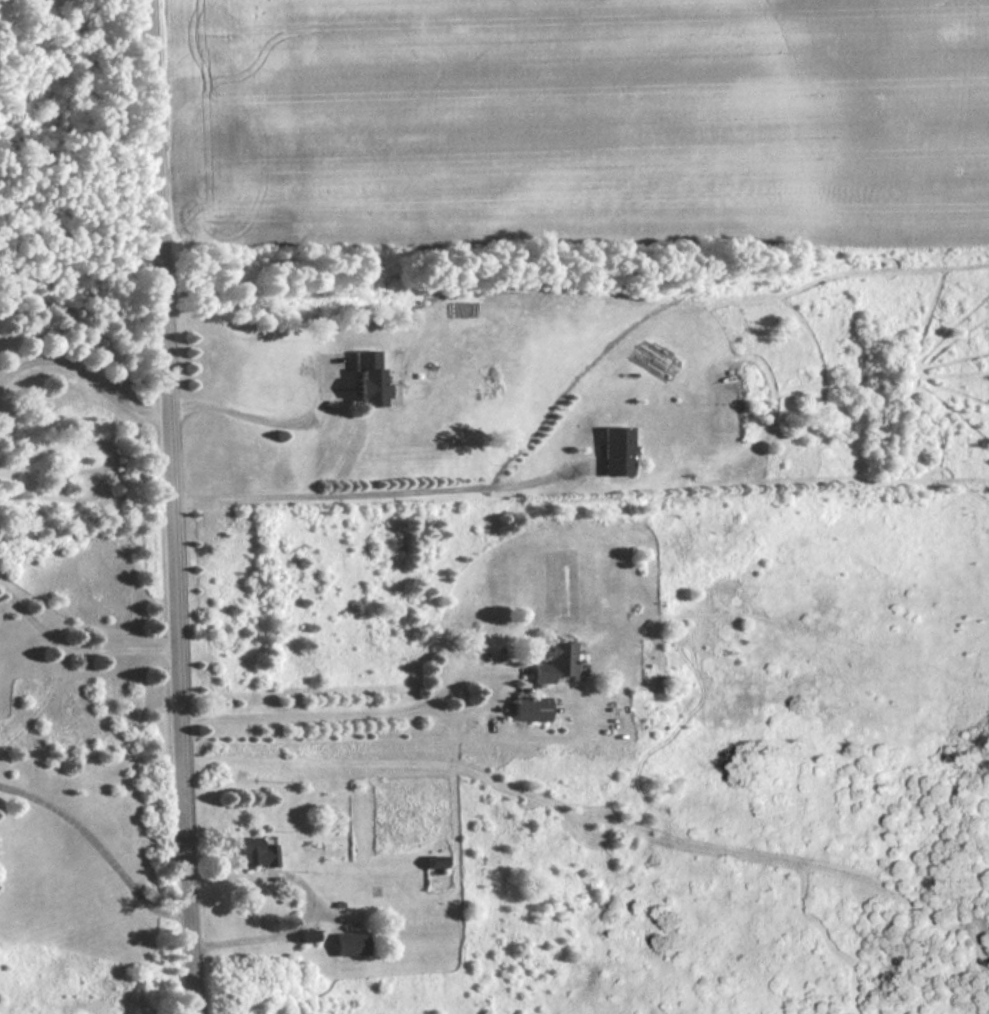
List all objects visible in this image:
road: (87, 374)
building: (368, 377)
road: (263, 417)
building: (617, 450)
road: (384, 489)
road: (176, 506)
road: (79, 646)
building: (556, 663)
building: (531, 709)
road: (348, 710)
road: (100, 847)
building: (256, 854)
building: (436, 862)
road: (312, 899)
building: (352, 944)

